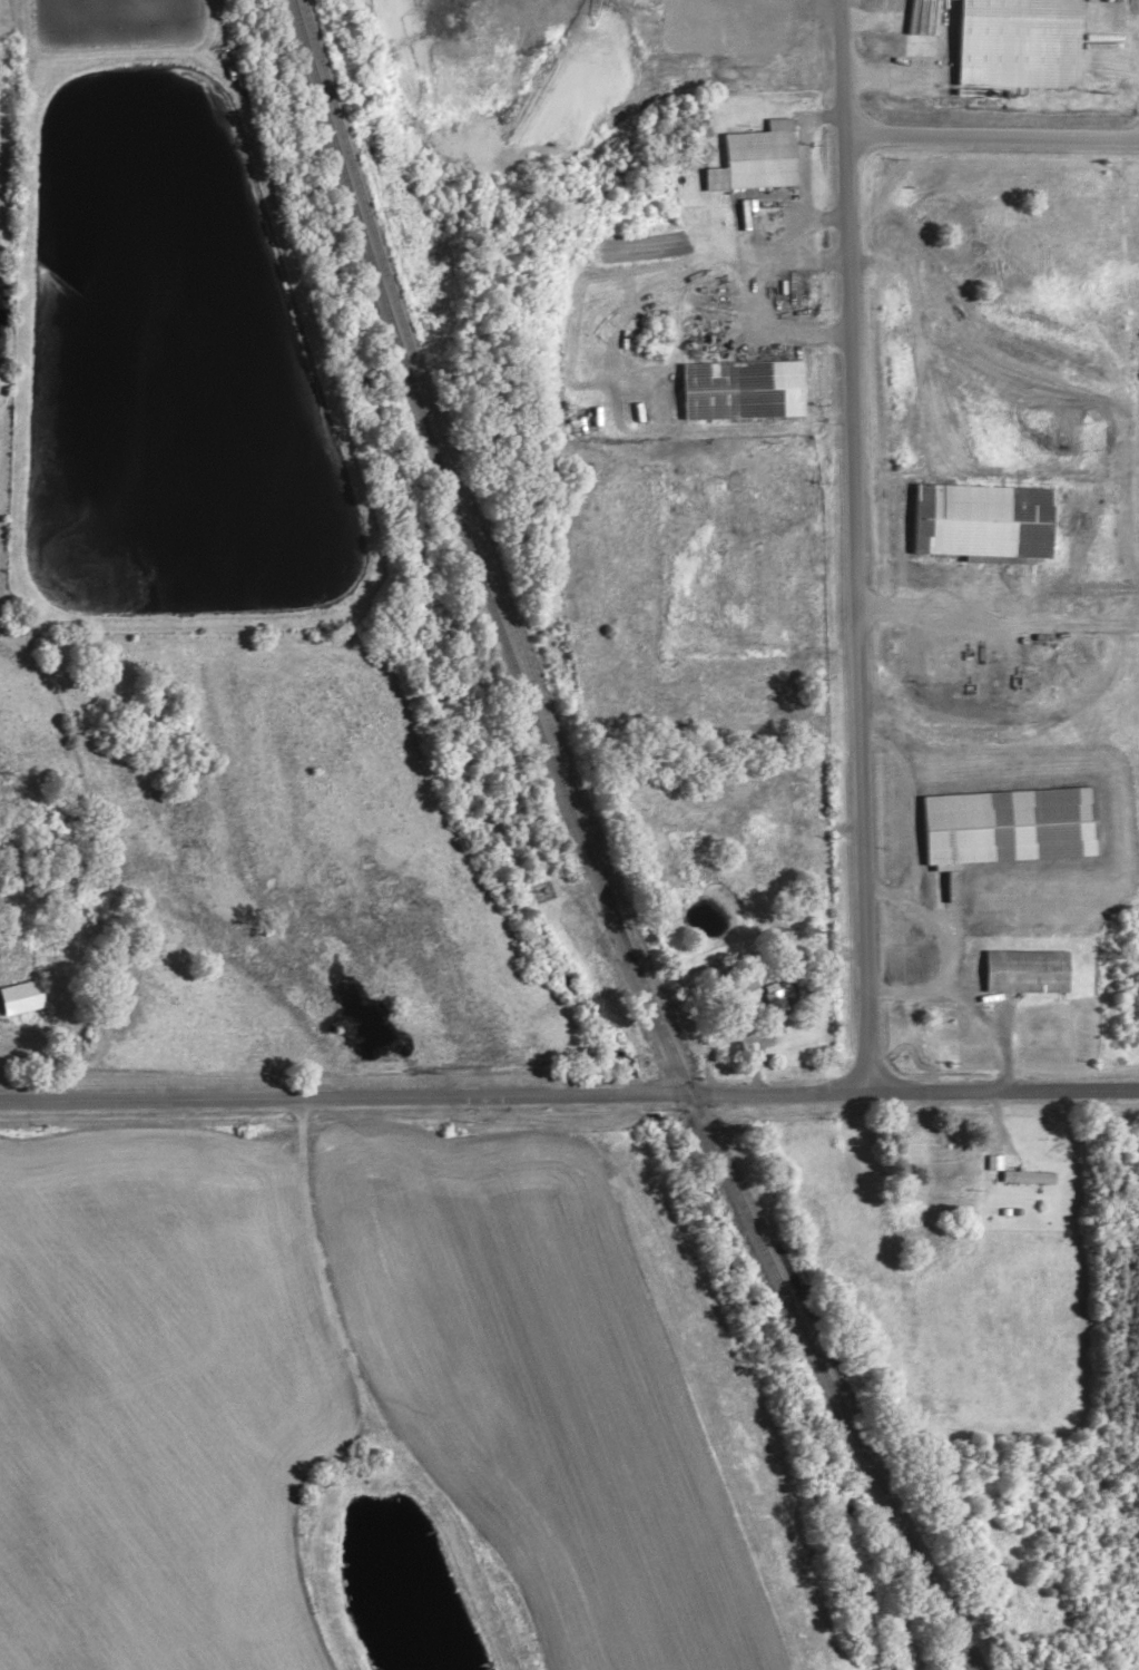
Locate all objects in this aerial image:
building: (1014, 42)
building: (230, 69)
road: (991, 133)
building: (759, 155)
building: (737, 387)
railway: (456, 469)
building: (981, 519)
road: (854, 545)
building: (1005, 823)
railway: (589, 853)
building: (1023, 968)
road: (569, 1093)
building: (1024, 1176)

